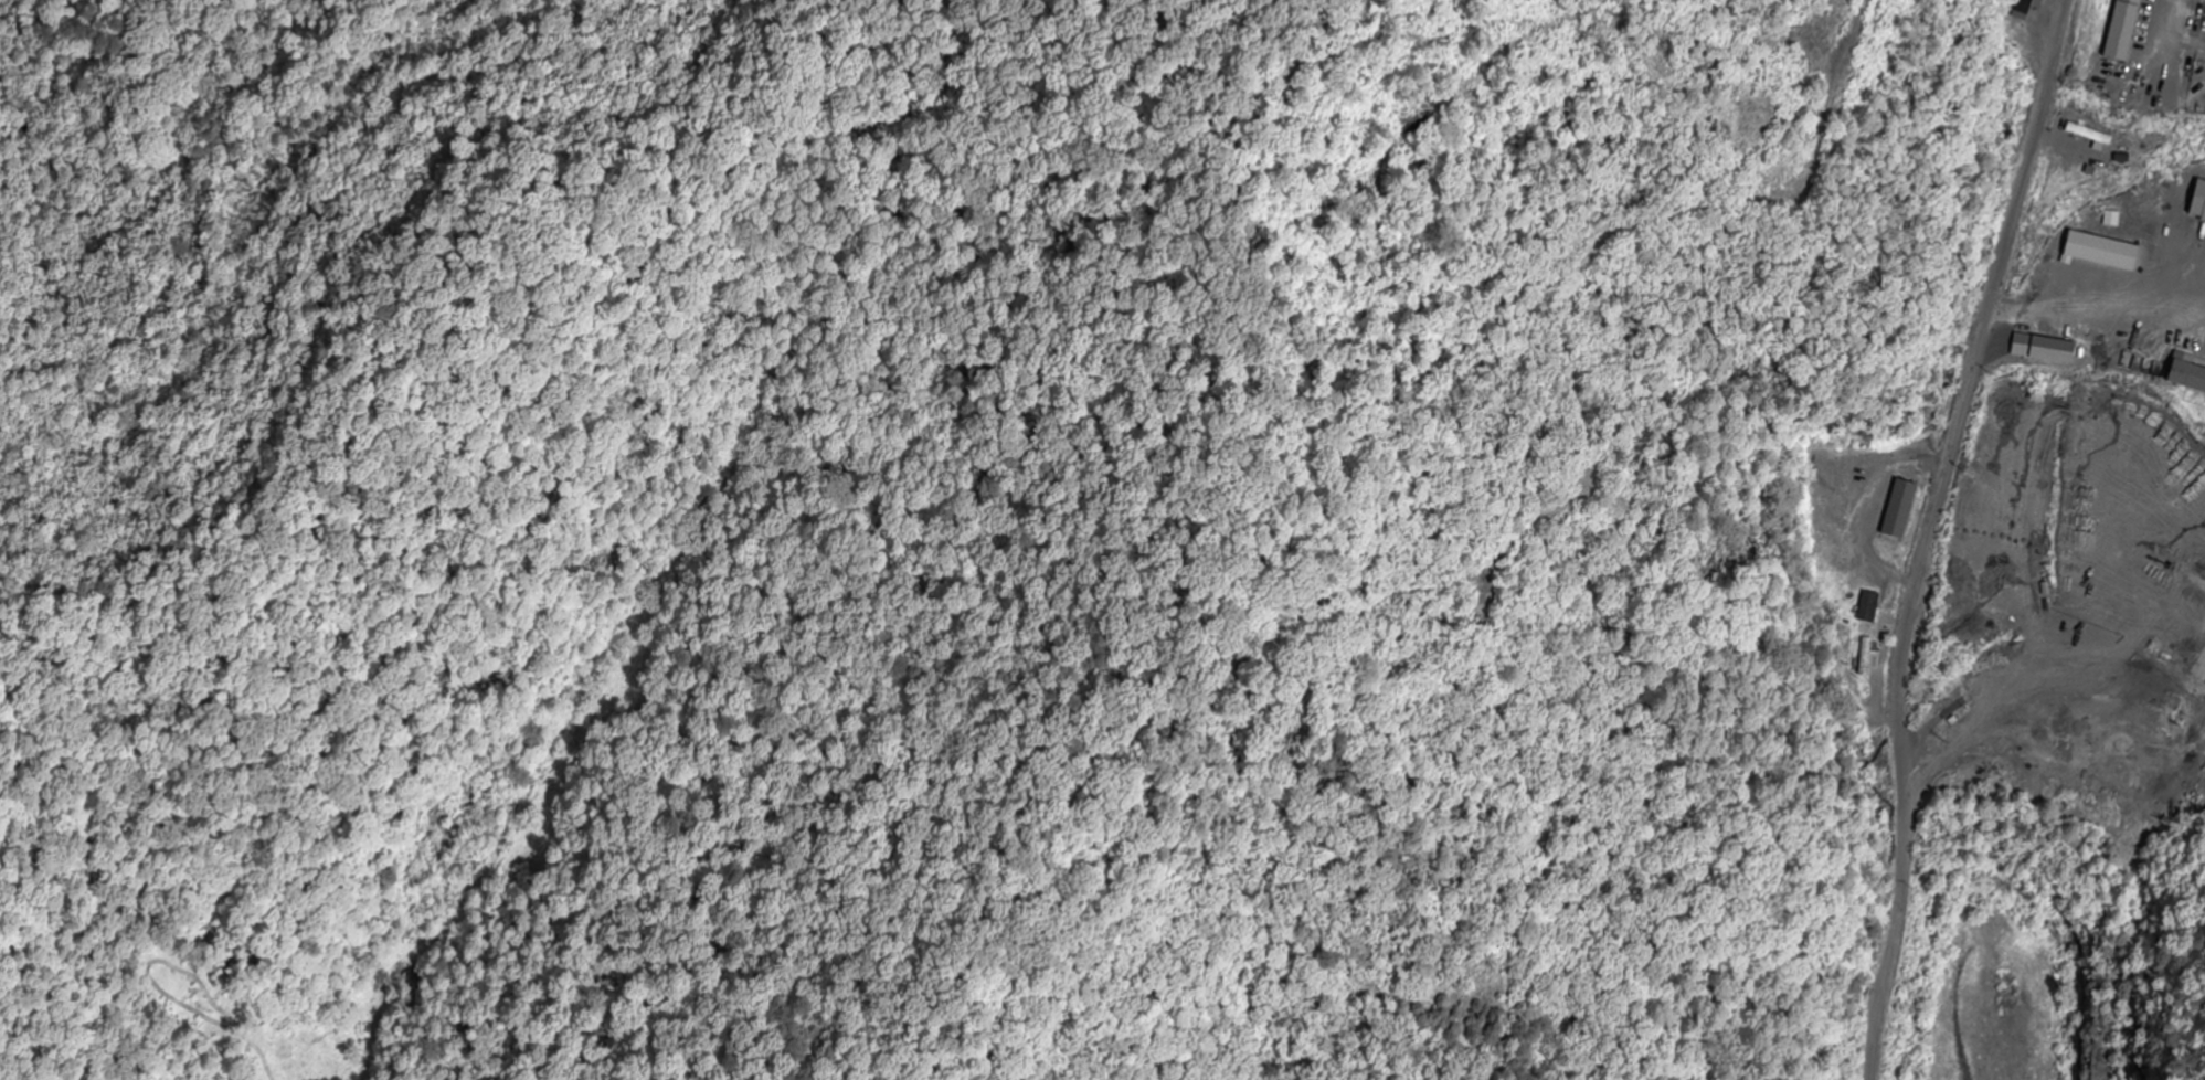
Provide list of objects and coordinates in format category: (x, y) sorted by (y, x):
building: (2114, 219)
building: (1904, 509)
building: (1873, 607)
building: (1869, 658)

